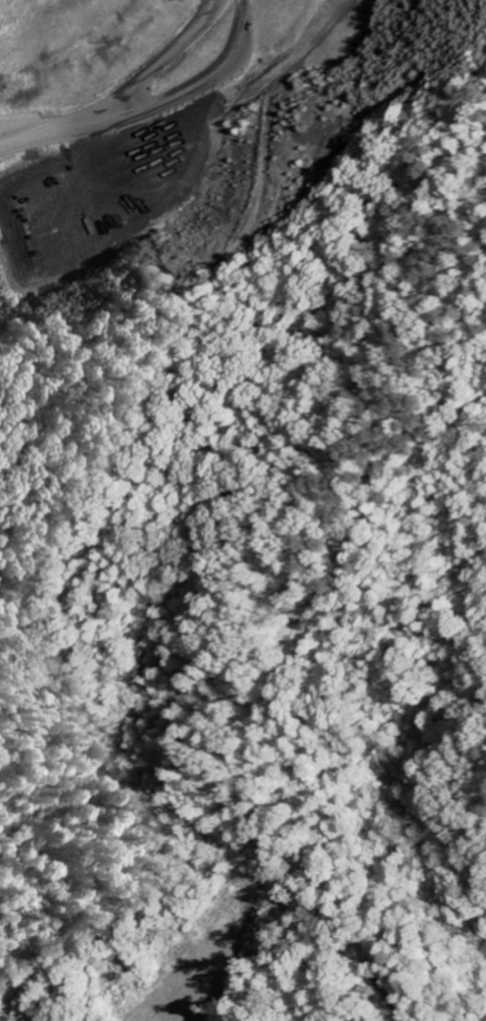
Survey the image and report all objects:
road: (120, 98)
landfill: (163, 126)

